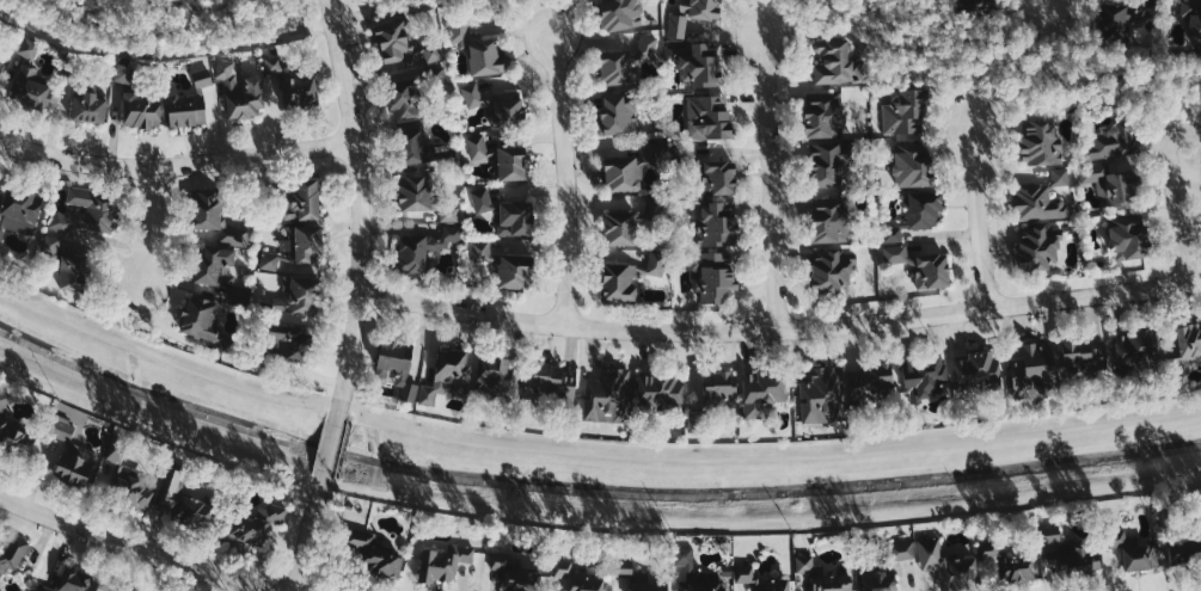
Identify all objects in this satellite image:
road: (197, 5)
building: (973, 6)
building: (620, 14)
building: (693, 14)
building: (1193, 16)
building: (1122, 17)
road: (549, 19)
road: (760, 19)
road: (1037, 26)
building: (461, 31)
building: (392, 41)
building: (649, 44)
building: (30, 48)
building: (431, 54)
road: (1034, 56)
building: (0, 57)
building: (488, 59)
building: (837, 61)
building: (274, 63)
building: (703, 64)
building: (617, 67)
building: (125, 73)
building: (439, 75)
road: (974, 80)
building: (31, 86)
building: (240, 90)
building: (300, 90)
building: (405, 103)
building: (190, 104)
building: (497, 104)
road: (1183, 104)
building: (90, 107)
building: (141, 110)
building: (906, 112)
building: (619, 115)
building: (825, 116)
building: (710, 117)
building: (1042, 142)
building: (1111, 142)
building: (413, 143)
building: (478, 146)
building: (513, 162)
building: (914, 162)
building: (827, 164)
road: (174, 166)
building: (719, 176)
road: (565, 181)
road: (772, 181)
building: (1113, 185)
building: (415, 192)
road: (1174, 195)
building: (1043, 198)
building: (483, 199)
building: (305, 201)
road: (362, 208)
building: (20, 211)
building: (87, 214)
building: (451, 214)
building: (918, 215)
road: (981, 216)
building: (516, 218)
building: (216, 220)
building: (831, 222)
road: (151, 223)
building: (718, 224)
building: (620, 229)
building: (1128, 236)
building: (308, 245)
building: (50, 246)
building: (1041, 246)
building: (424, 248)
building: (483, 252)
building: (270, 260)
building: (287, 263)
building: (657, 263)
building: (214, 266)
building: (923, 266)
building: (833, 269)
building: (73, 271)
building: (515, 271)
building: (717, 278)
building: (619, 282)
building: (298, 296)
building: (202, 320)
road: (782, 325)
building: (290, 343)
building: (1136, 351)
building: (1184, 352)
road: (158, 358)
building: (1086, 359)
building: (398, 363)
building: (1033, 370)
building: (924, 373)
building: (978, 373)
building: (448, 375)
building: (498, 378)
building: (870, 384)
building: (552, 389)
building: (661, 389)
building: (822, 390)
building: (762, 392)
building: (607, 394)
building: (712, 399)
road: (341, 415)
road: (151, 419)
building: (13, 430)
road: (330, 451)
road: (779, 456)
building: (73, 469)
road: (325, 476)
building: (130, 480)
building: (188, 505)
road: (772, 519)
building: (258, 523)
road: (307, 538)
road: (142, 547)
building: (1133, 547)
building: (1184, 549)
building: (1070, 552)
building: (12, 553)
building: (374, 554)
building: (443, 561)
building: (1009, 561)
building: (891, 564)
building: (949, 566)
building: (515, 571)
building: (825, 574)
building: (638, 575)
building: (698, 575)
building: (578, 577)
building: (777, 578)
building: (75, 581)

